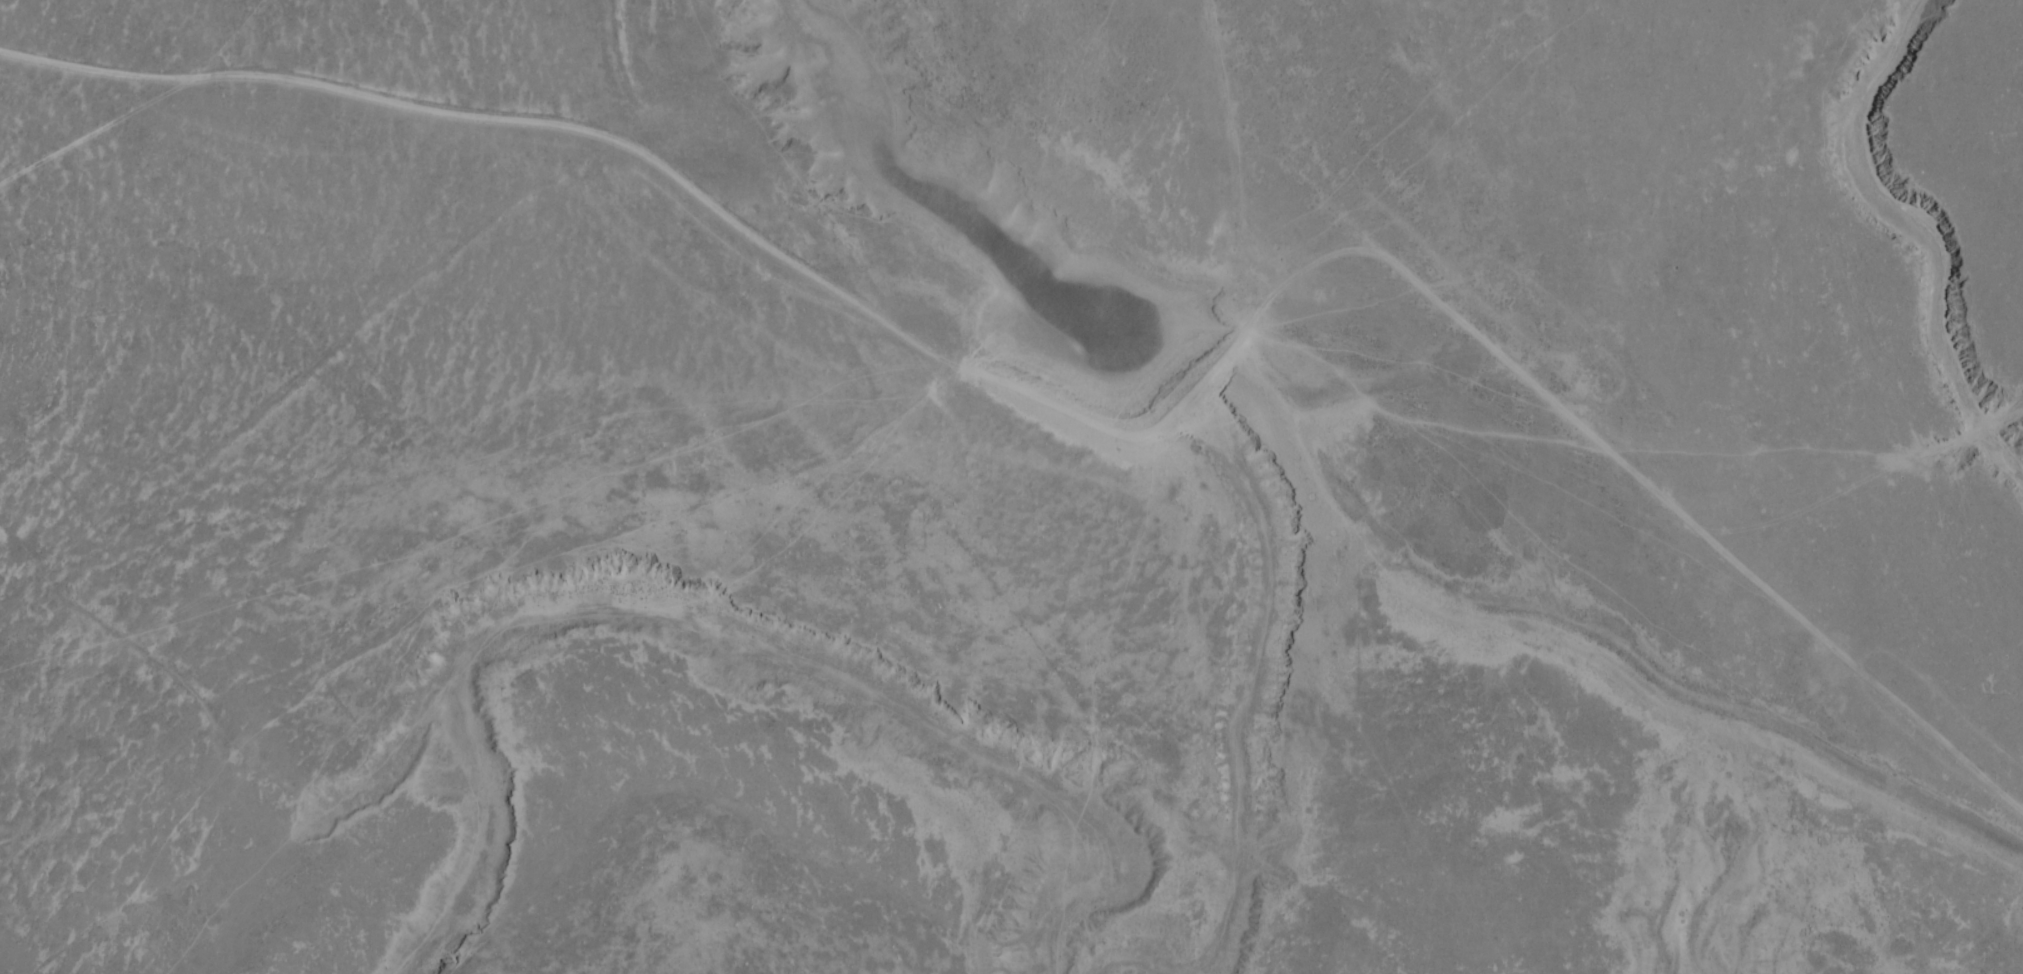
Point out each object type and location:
road: (99, 68)

